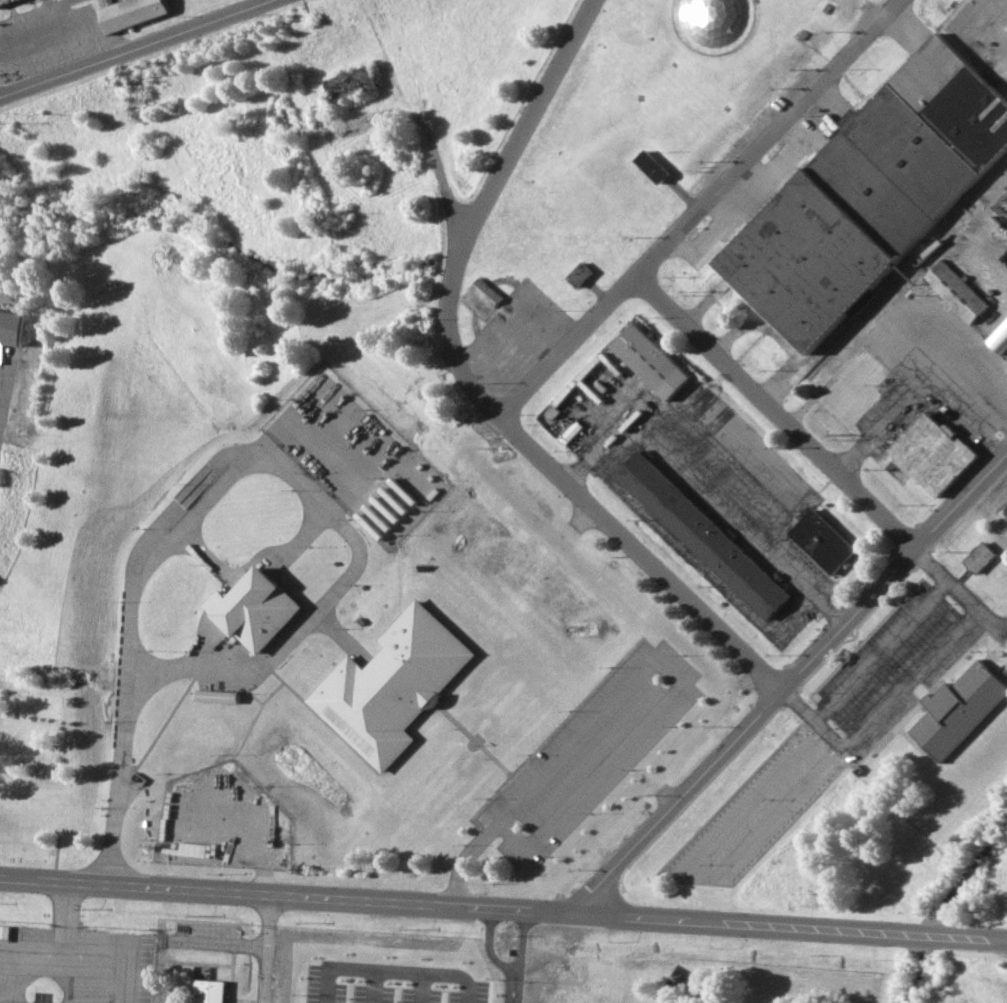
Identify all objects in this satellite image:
airport hangar: (6, 2)
building: (6, 2)
building: (136, 12)
road: (39, 14)
road: (136, 49)
building: (349, 82)
road: (435, 157)
building: (649, 165)
building: (869, 191)
road: (477, 207)
road: (695, 208)
building: (578, 273)
building: (955, 290)
building: (485, 291)
building: (860, 307)
building: (12, 326)
building: (999, 337)
building: (649, 360)
building: (1006, 364)
road: (1, 367)
parking lot: (922, 367)
road: (918, 392)
road: (775, 411)
building: (934, 452)
parking lot: (695, 478)
road: (707, 496)
building: (702, 533)
building: (821, 540)
road: (639, 555)
building: (980, 556)
road: (697, 559)
road: (348, 579)
road: (959, 592)
building: (253, 608)
road: (986, 645)
road: (880, 649)
parking lot: (896, 660)
road: (640, 667)
building: (389, 684)
road: (786, 684)
building: (213, 696)
building: (959, 708)
road: (883, 714)
road: (542, 734)
road: (828, 744)
parking lot: (580, 758)
parking lot: (755, 810)
road: (260, 860)
road: (681, 878)
road: (283, 894)
road: (64, 903)
road: (786, 927)
road: (63, 931)
road: (1002, 942)
parking lot: (336, 947)
road: (264, 948)
road: (490, 949)
road: (521, 956)
road: (31, 963)
road: (95, 969)
building: (206, 991)
road: (127, 1001)

